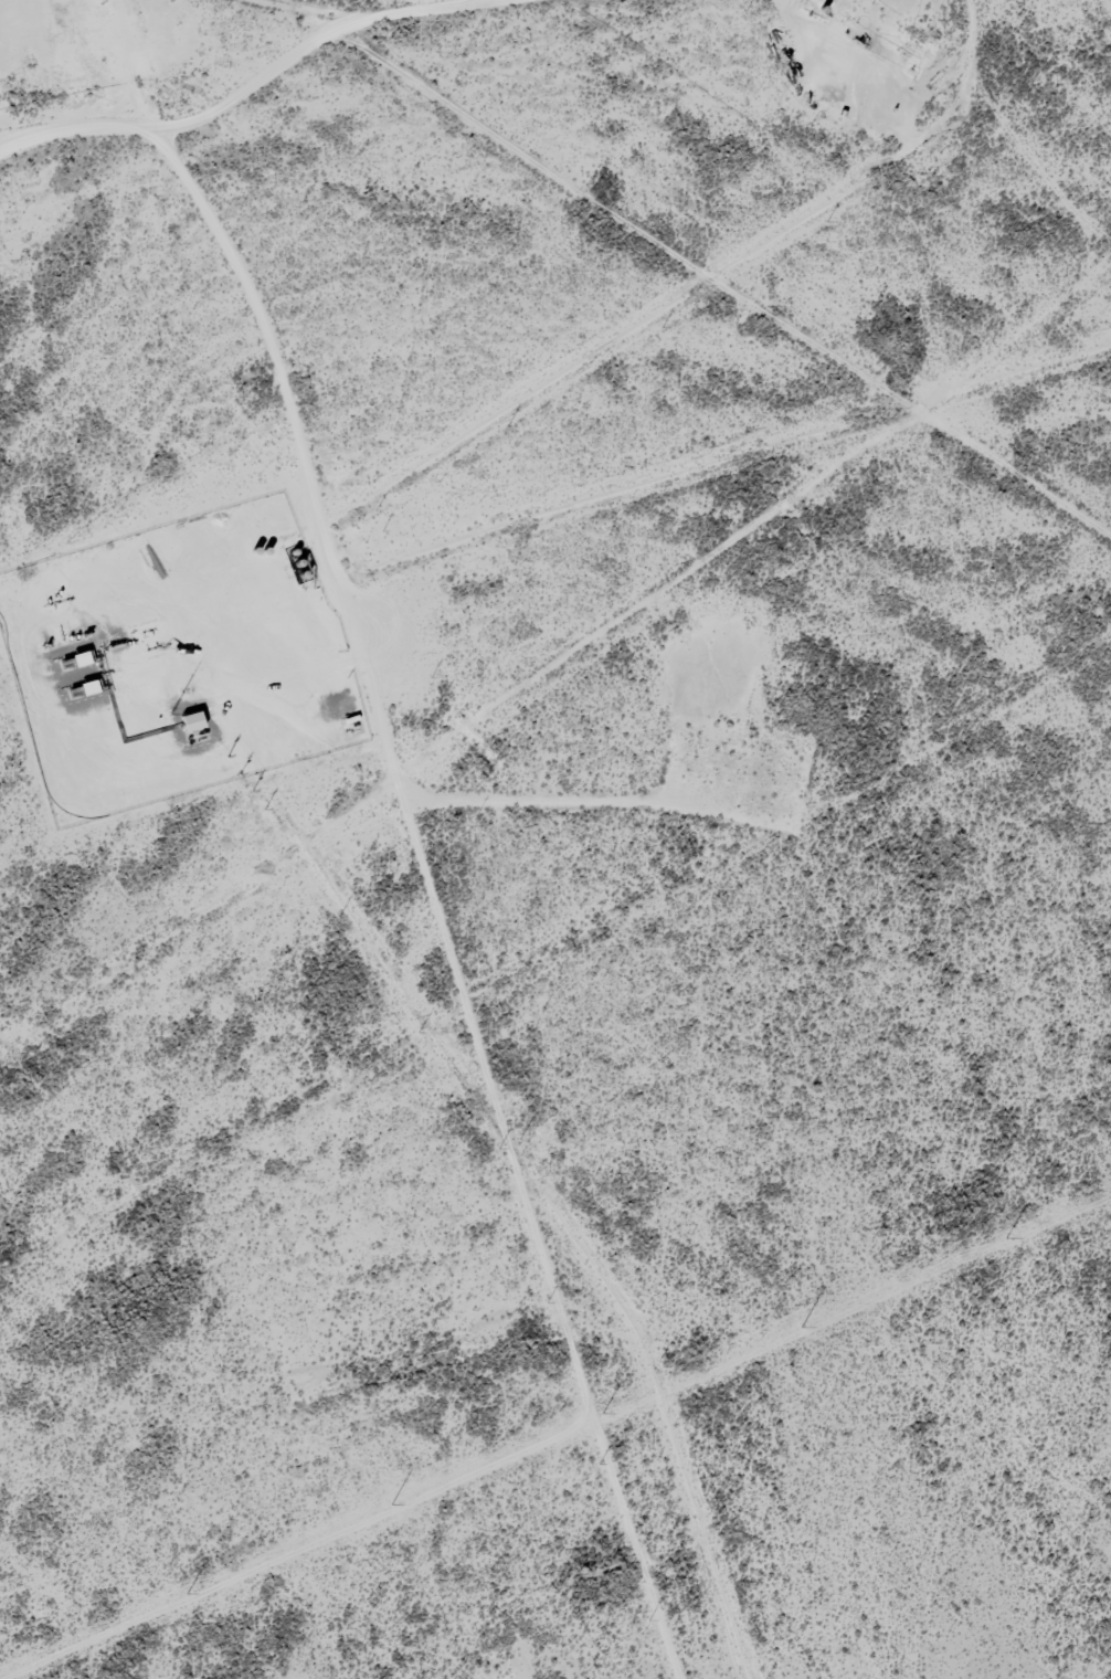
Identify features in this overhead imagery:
road: (586, 23)
road: (575, 221)
building: (197, 725)
road: (401, 848)
power tower: (1006, 1238)
power tower: (801, 1328)
power tower: (603, 1415)
power tower: (391, 1504)
power tower: (187, 1594)

